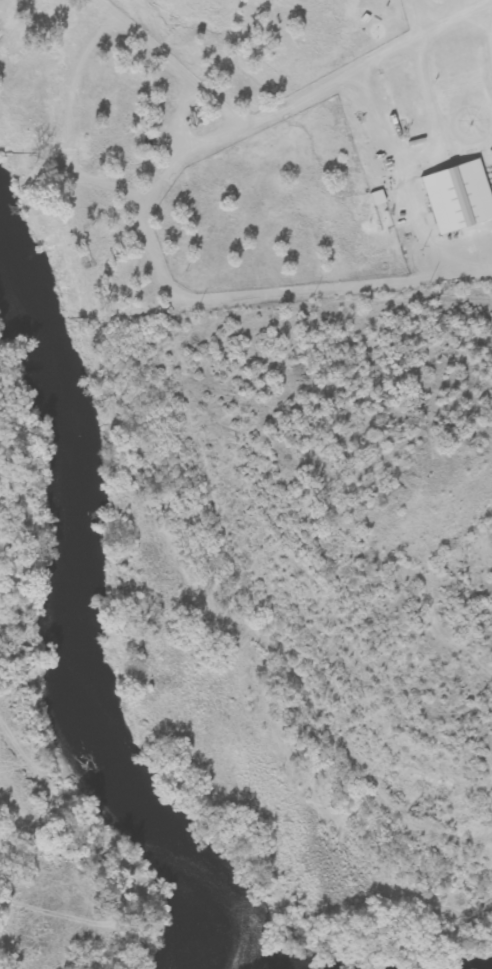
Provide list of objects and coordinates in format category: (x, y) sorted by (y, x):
building: (457, 197)
building: (377, 198)

